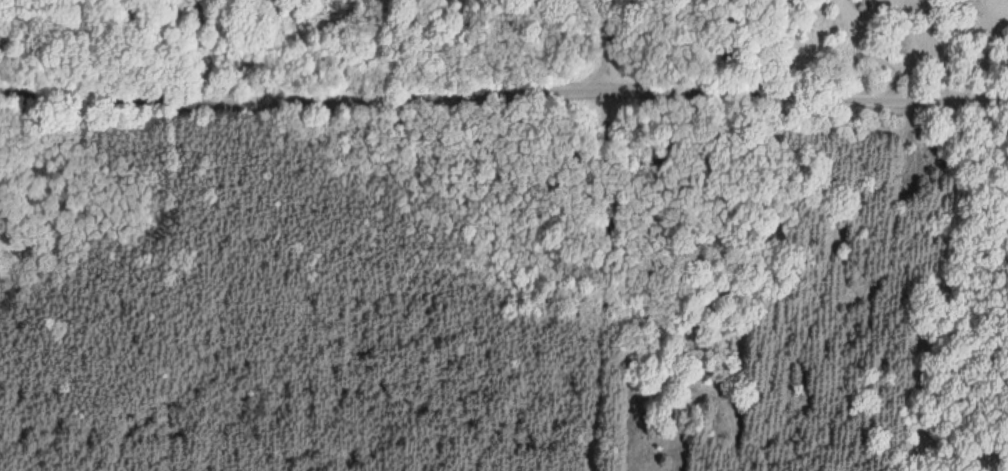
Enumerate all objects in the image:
road: (602, 43)
road: (300, 83)
road: (804, 88)
road: (601, 279)

